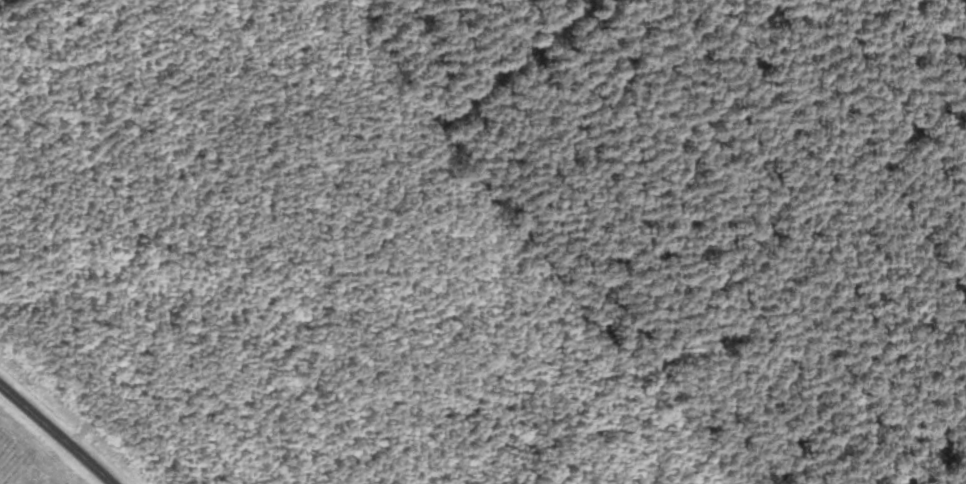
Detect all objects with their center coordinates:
road: (55, 434)

